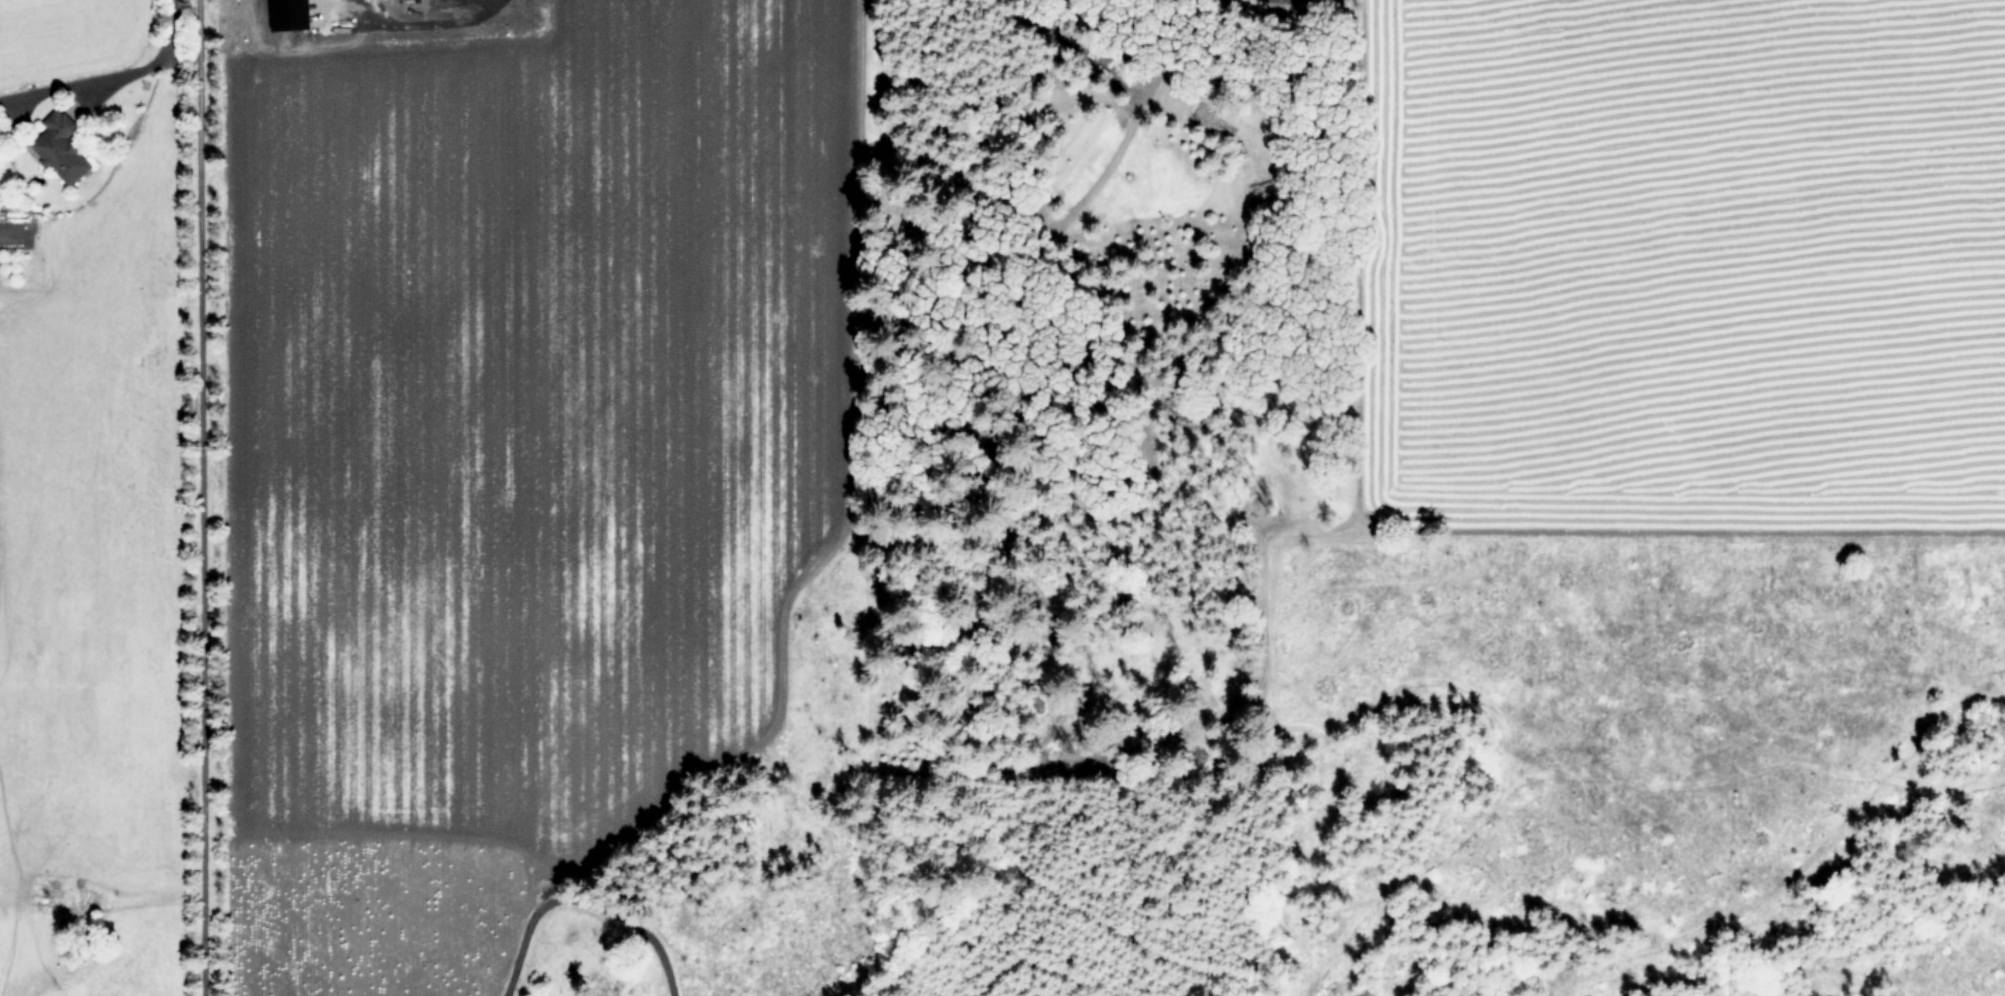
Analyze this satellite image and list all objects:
road: (429, 22)
road: (110, 67)
building: (62, 146)
crop: (1691, 275)
road: (198, 497)
road: (584, 903)

